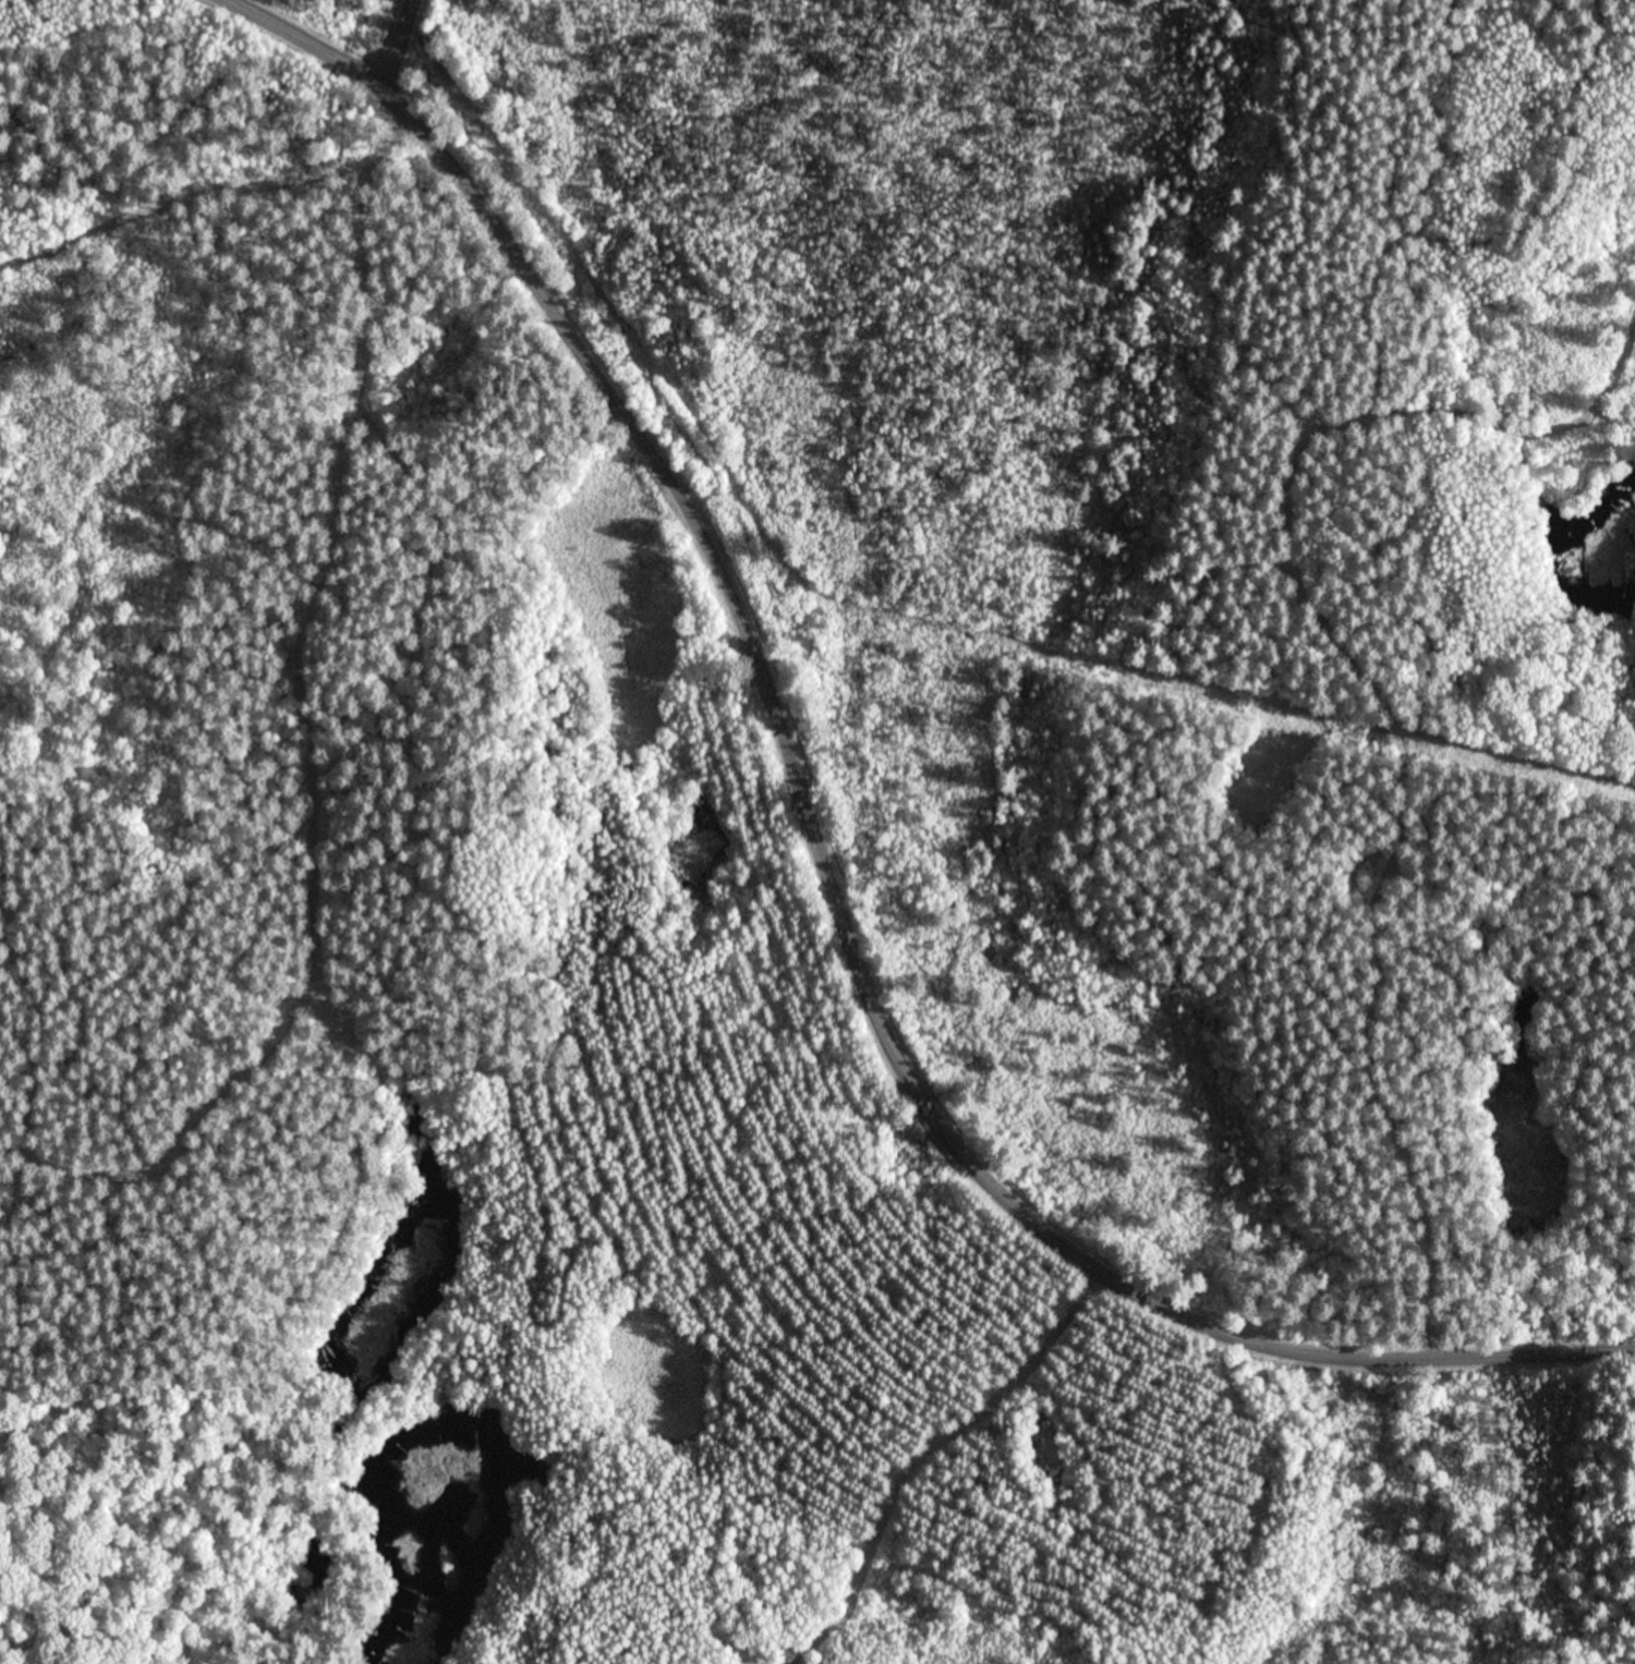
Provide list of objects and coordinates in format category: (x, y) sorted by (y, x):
road: (310, 45)
road: (396, 45)
road: (852, 934)

